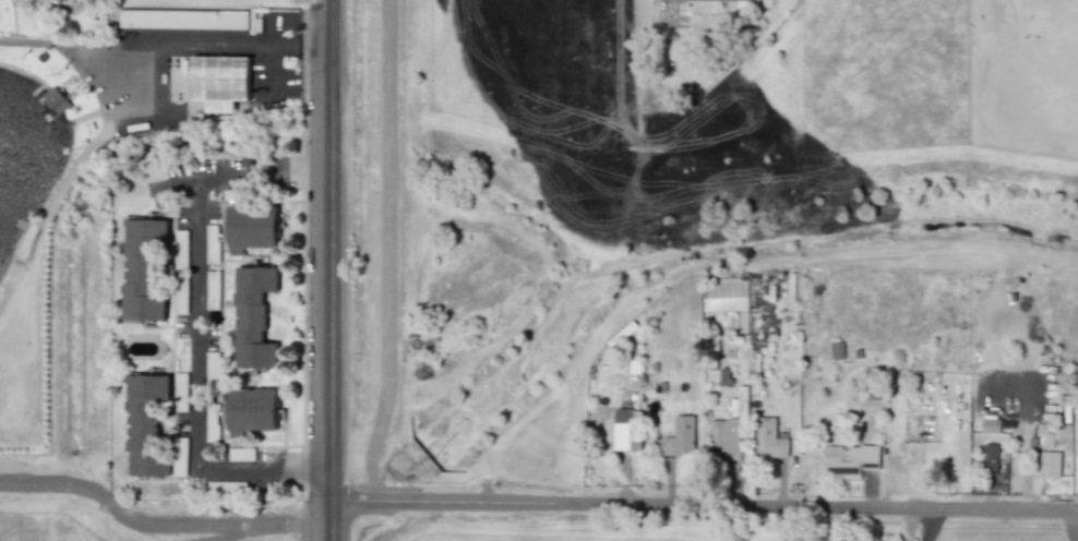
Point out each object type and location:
building: (61, 0)
building: (740, 0)
building: (183, 19)
road: (300, 44)
road: (136, 49)
road: (271, 59)
building: (220, 81)
building: (56, 98)
road: (263, 175)
building: (250, 227)
road: (388, 251)
building: (143, 269)
road: (328, 270)
building: (253, 316)
road: (199, 325)
building: (251, 409)
building: (145, 424)
building: (990, 425)
building: (626, 430)
building: (679, 436)
building: (769, 437)
building: (990, 457)
building: (847, 460)
building: (1050, 464)
road: (264, 468)
road: (703, 504)
road: (136, 521)
road: (923, 524)
road: (1073, 525)
road: (307, 527)

